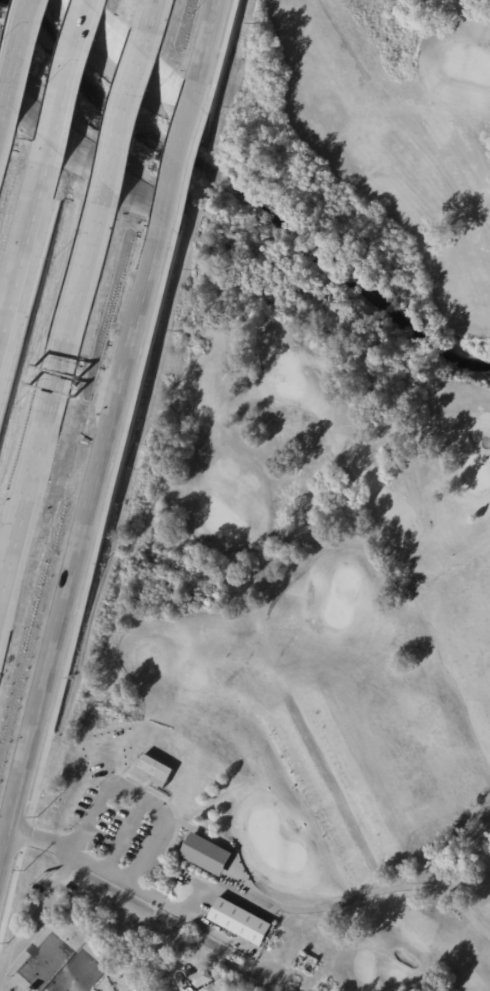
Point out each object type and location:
road: (148, 17)
road: (342, 32)
road: (206, 41)
road: (218, 46)
road: (15, 65)
road: (70, 76)
road: (124, 111)
road: (178, 155)
road: (190, 163)
road: (25, 252)
road: (51, 394)
park: (326, 486)
road: (77, 550)
road: (83, 578)
building: (155, 770)
road: (142, 795)
parking lot: (120, 831)
road: (126, 834)
building: (205, 852)
road: (121, 879)
road: (466, 890)
road: (223, 891)
road: (358, 897)
road: (41, 915)
building: (239, 920)
building: (229, 934)
building: (201, 977)
building: (136, 990)
building: (139, 990)

